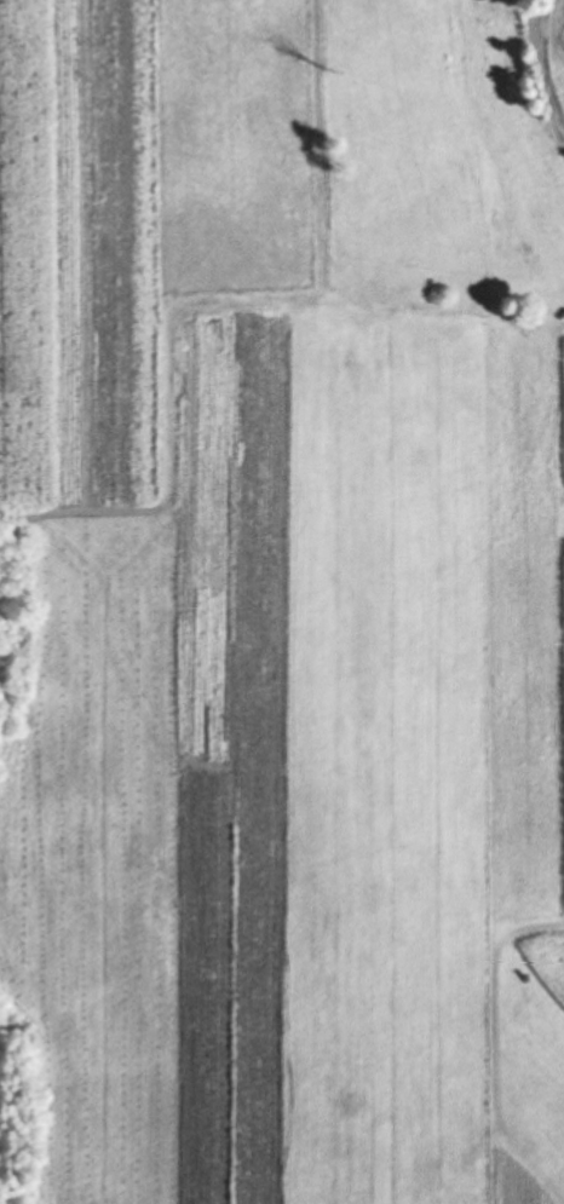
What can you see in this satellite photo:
crop: (560, 42)
crop: (240, 191)
crop: (305, 784)

